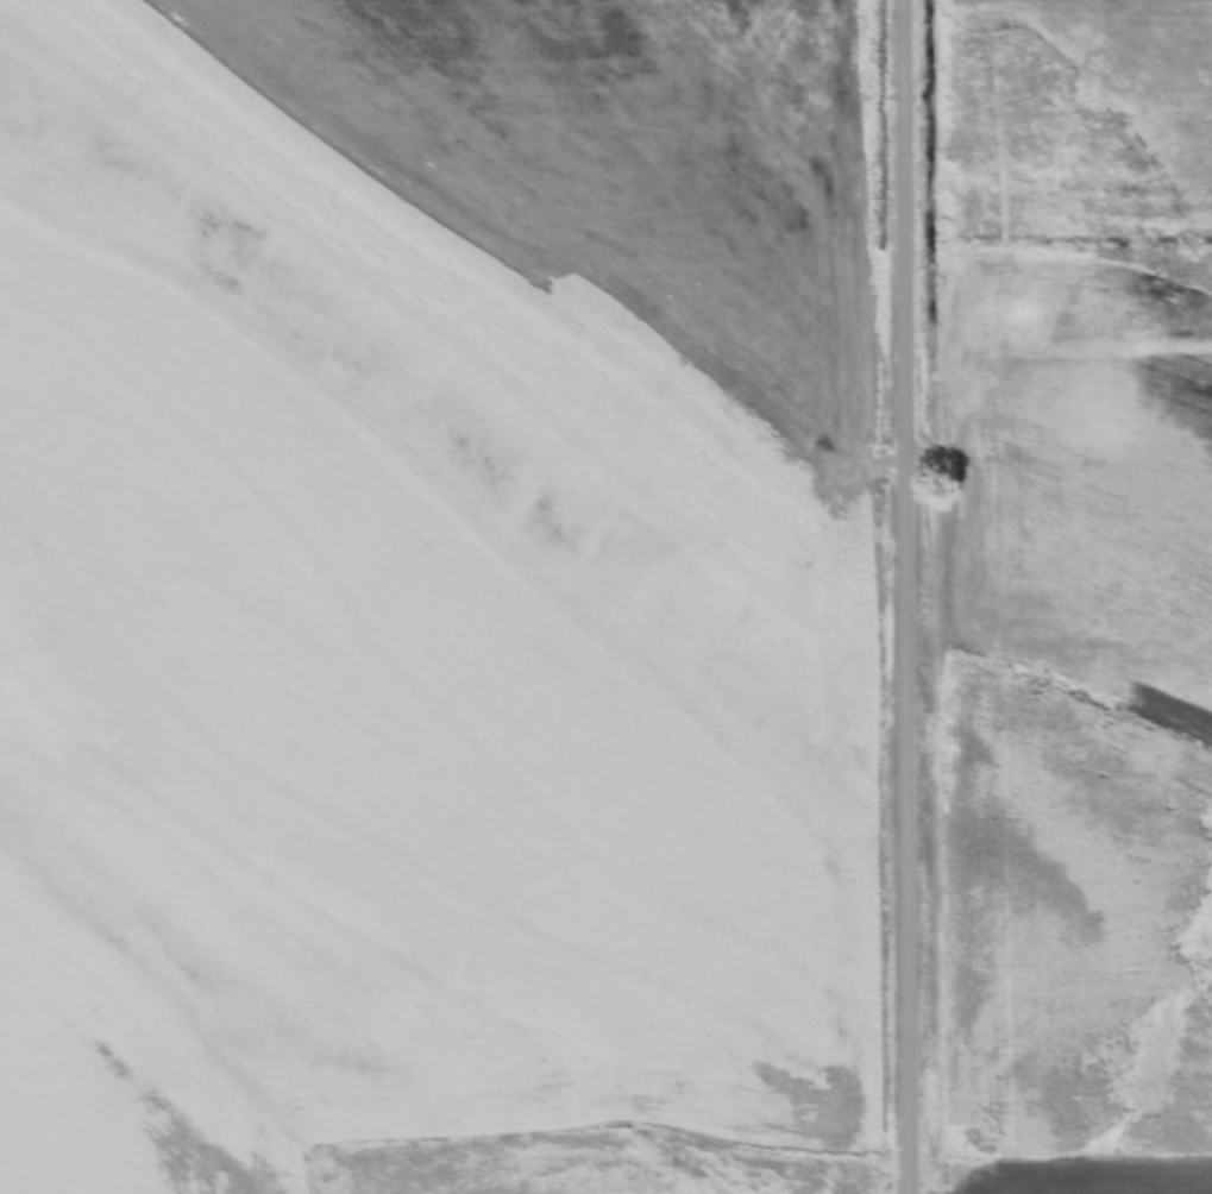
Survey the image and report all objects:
road: (916, 597)

